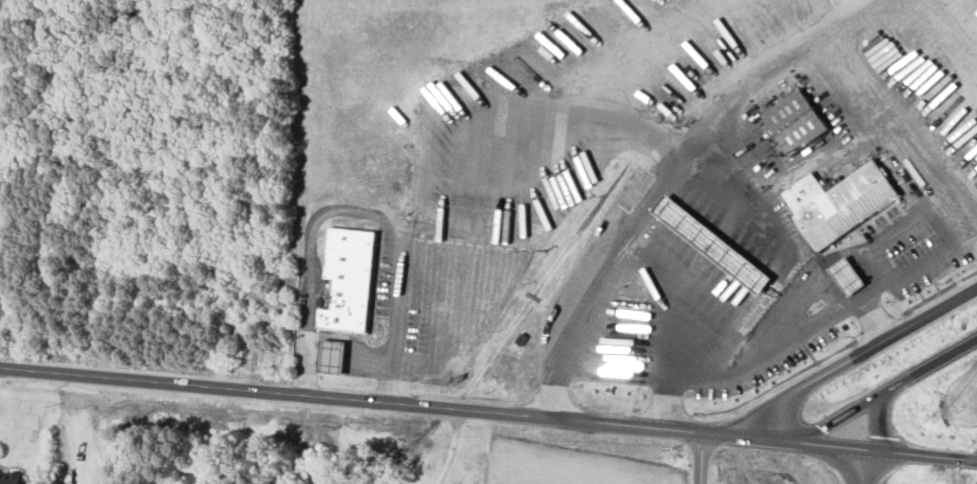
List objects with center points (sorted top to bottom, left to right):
road: (961, 13)
road: (597, 89)
building: (794, 122)
road: (900, 125)
road: (673, 180)
building: (836, 203)
road: (358, 213)
building: (711, 245)
gas station: (711, 245)
building: (845, 276)
building: (349, 278)
road: (674, 297)
road: (867, 323)
road: (802, 330)
road: (859, 357)
road: (930, 368)
road: (401, 406)
road: (843, 419)
road: (877, 422)
road: (840, 447)
road: (451, 449)
road: (925, 456)
road: (700, 459)
road: (974, 461)
road: (873, 467)
building: (9, 477)

